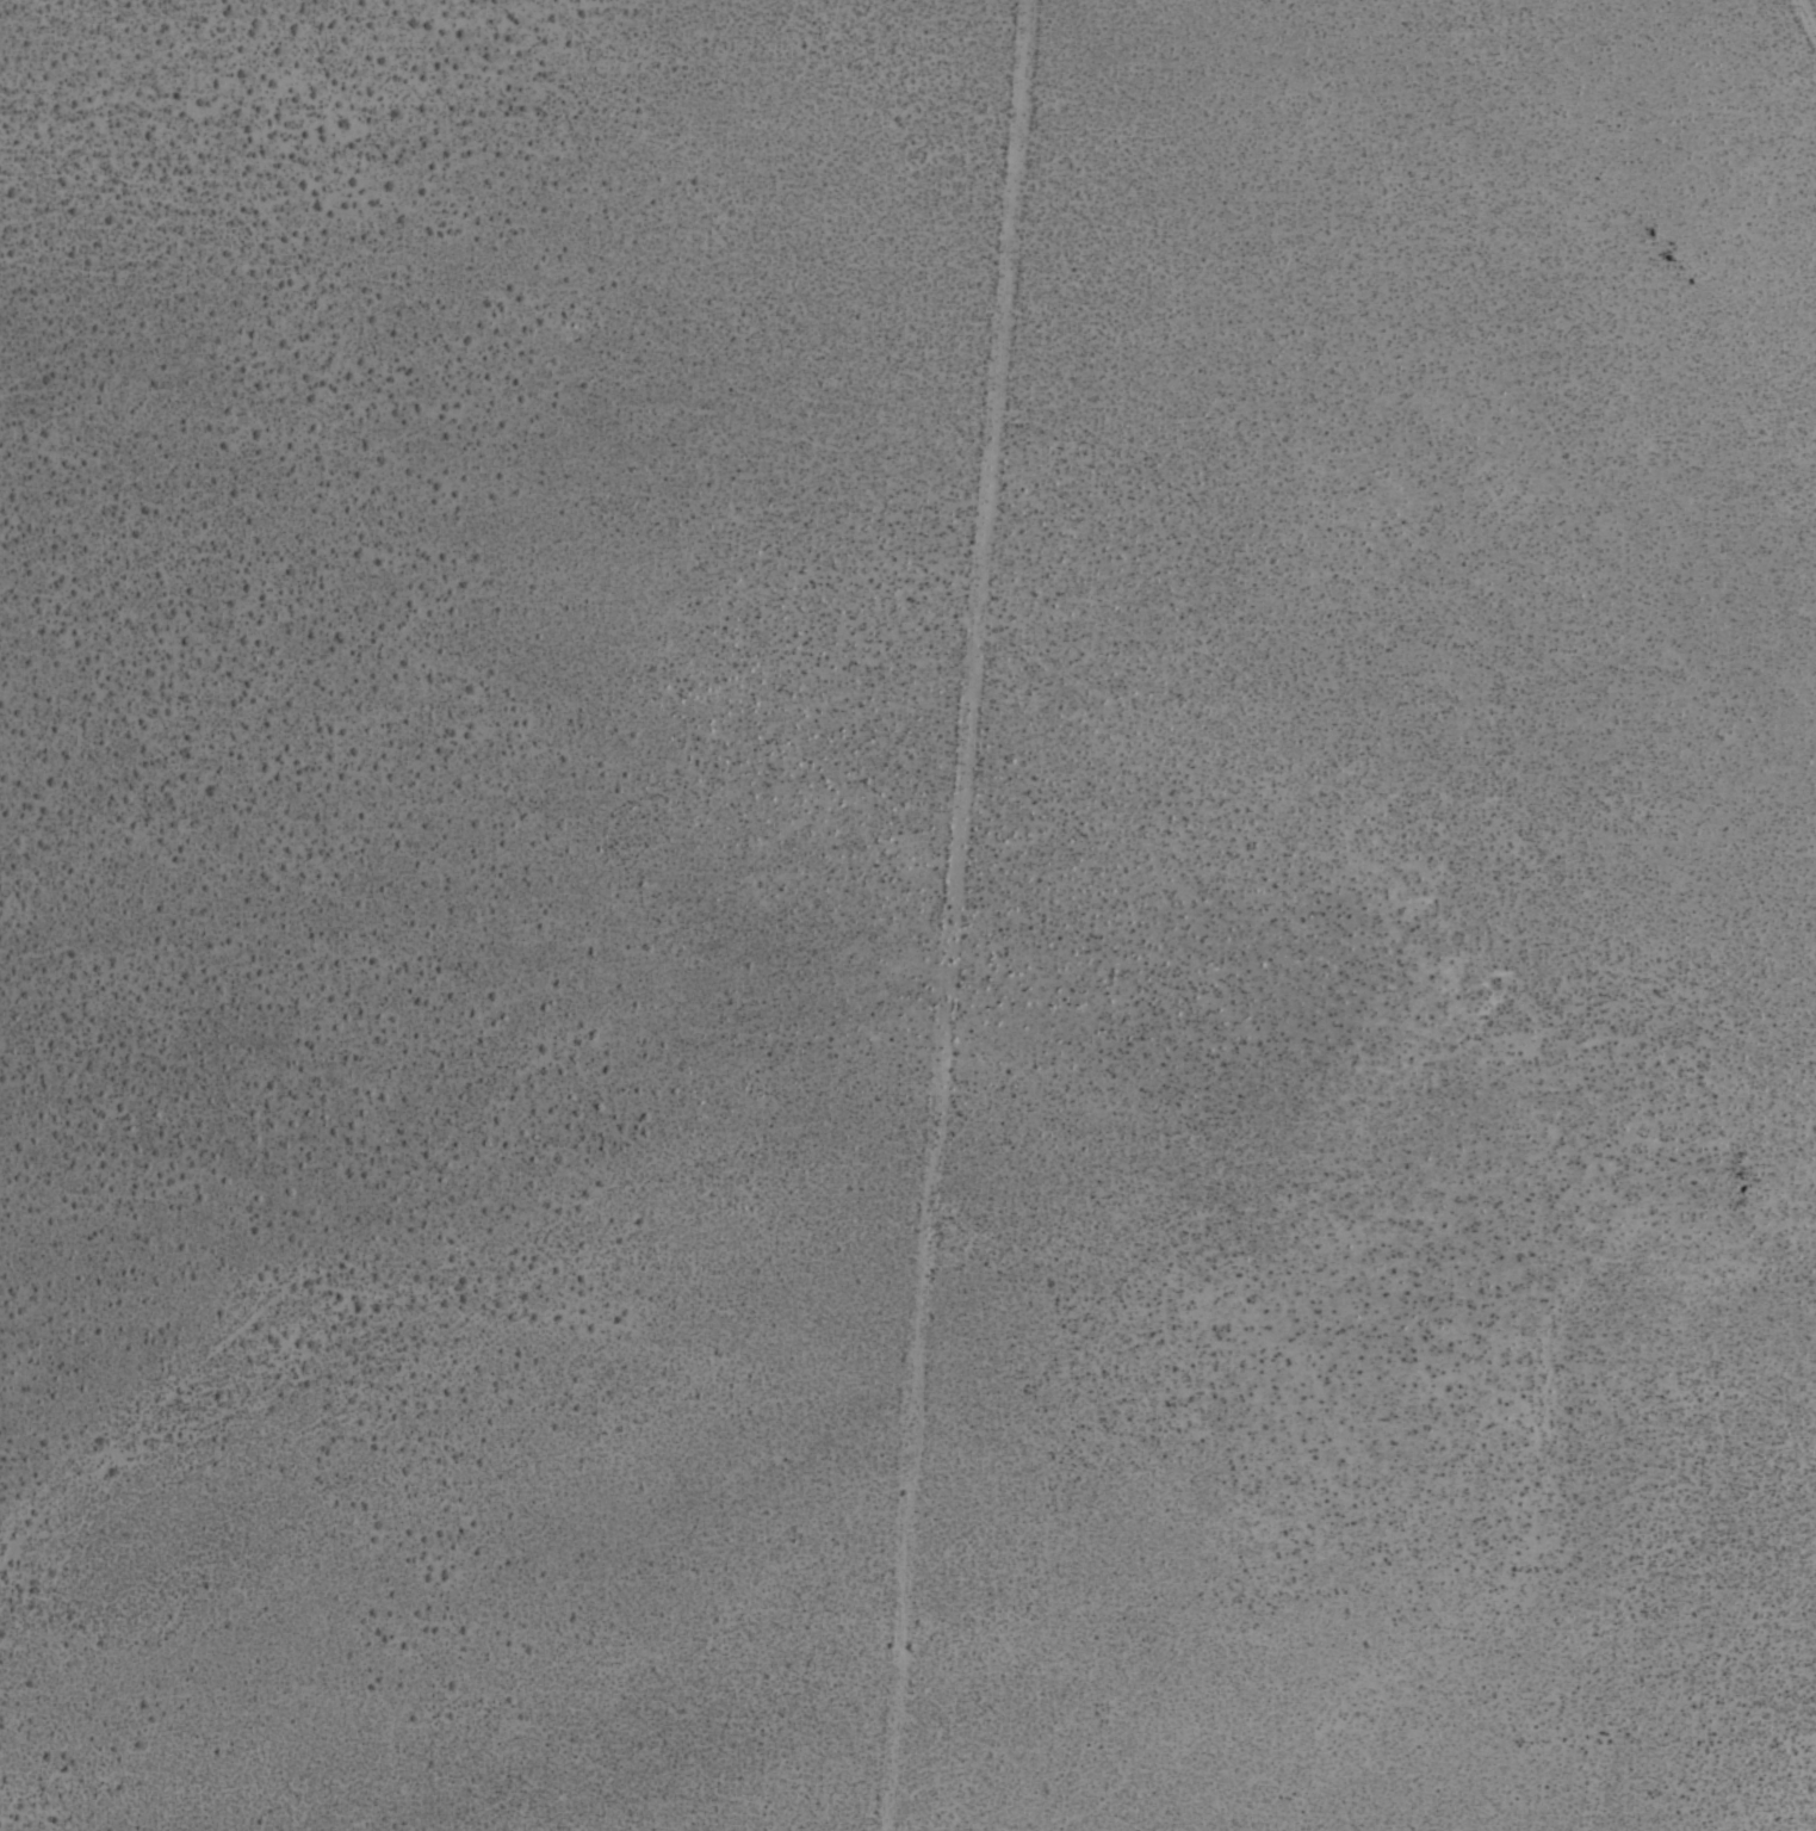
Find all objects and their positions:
road: (966, 915)

